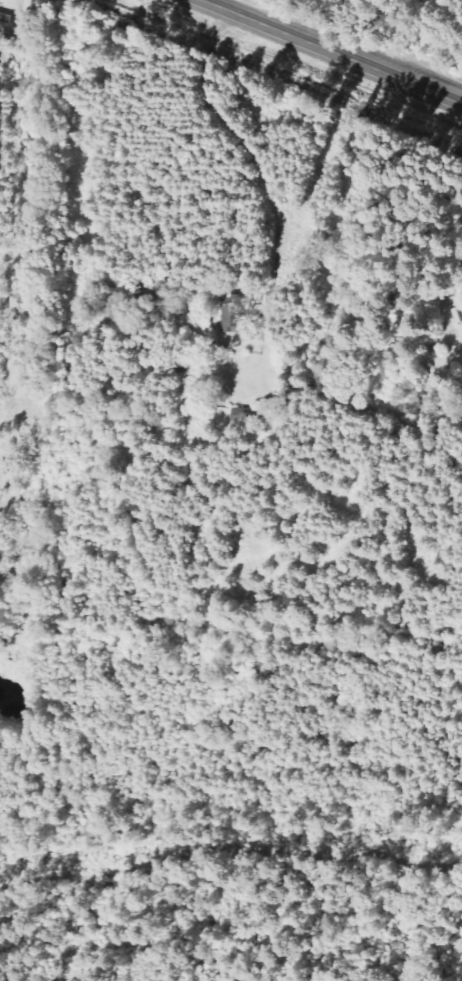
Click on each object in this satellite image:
road: (331, 51)
road: (238, 140)
building: (233, 314)

